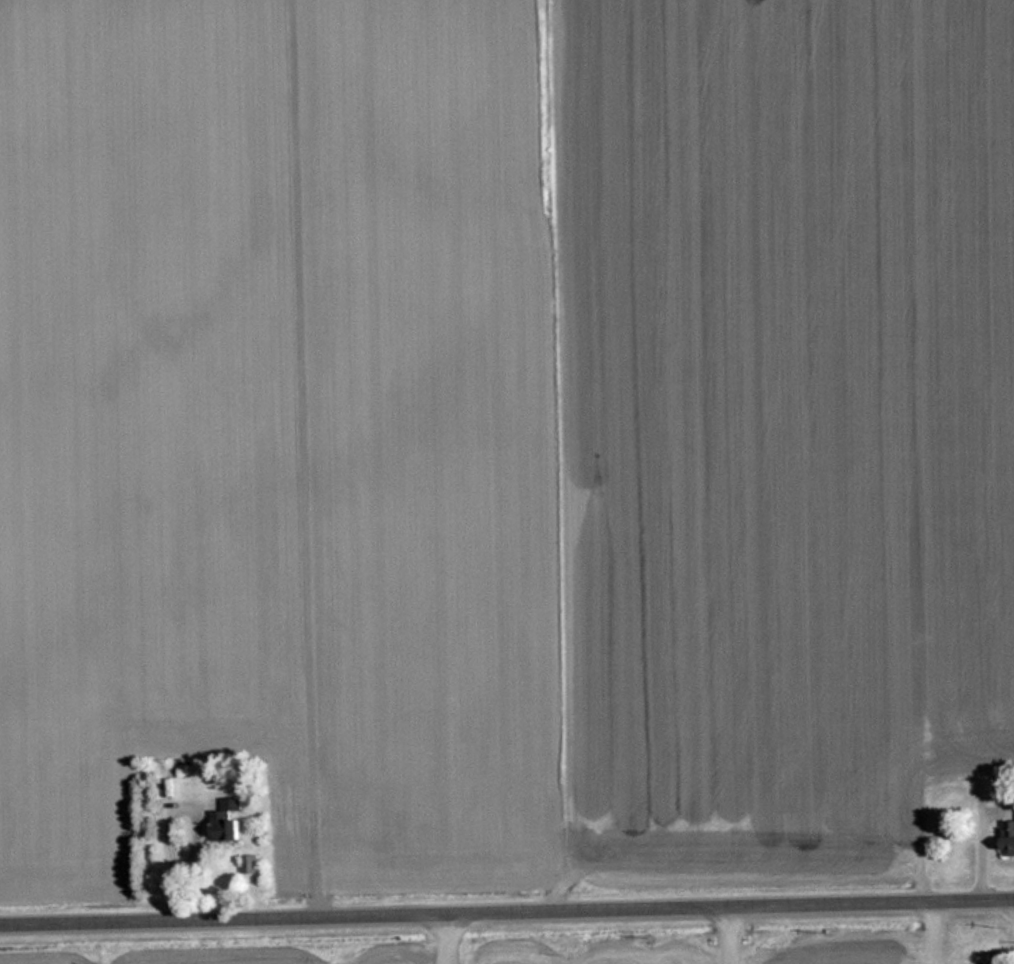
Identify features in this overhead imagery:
road: (304, 461)
building: (970, 728)
building: (61, 735)
building: (189, 771)
building: (228, 820)
building: (1009, 837)
building: (250, 864)
road: (507, 917)

